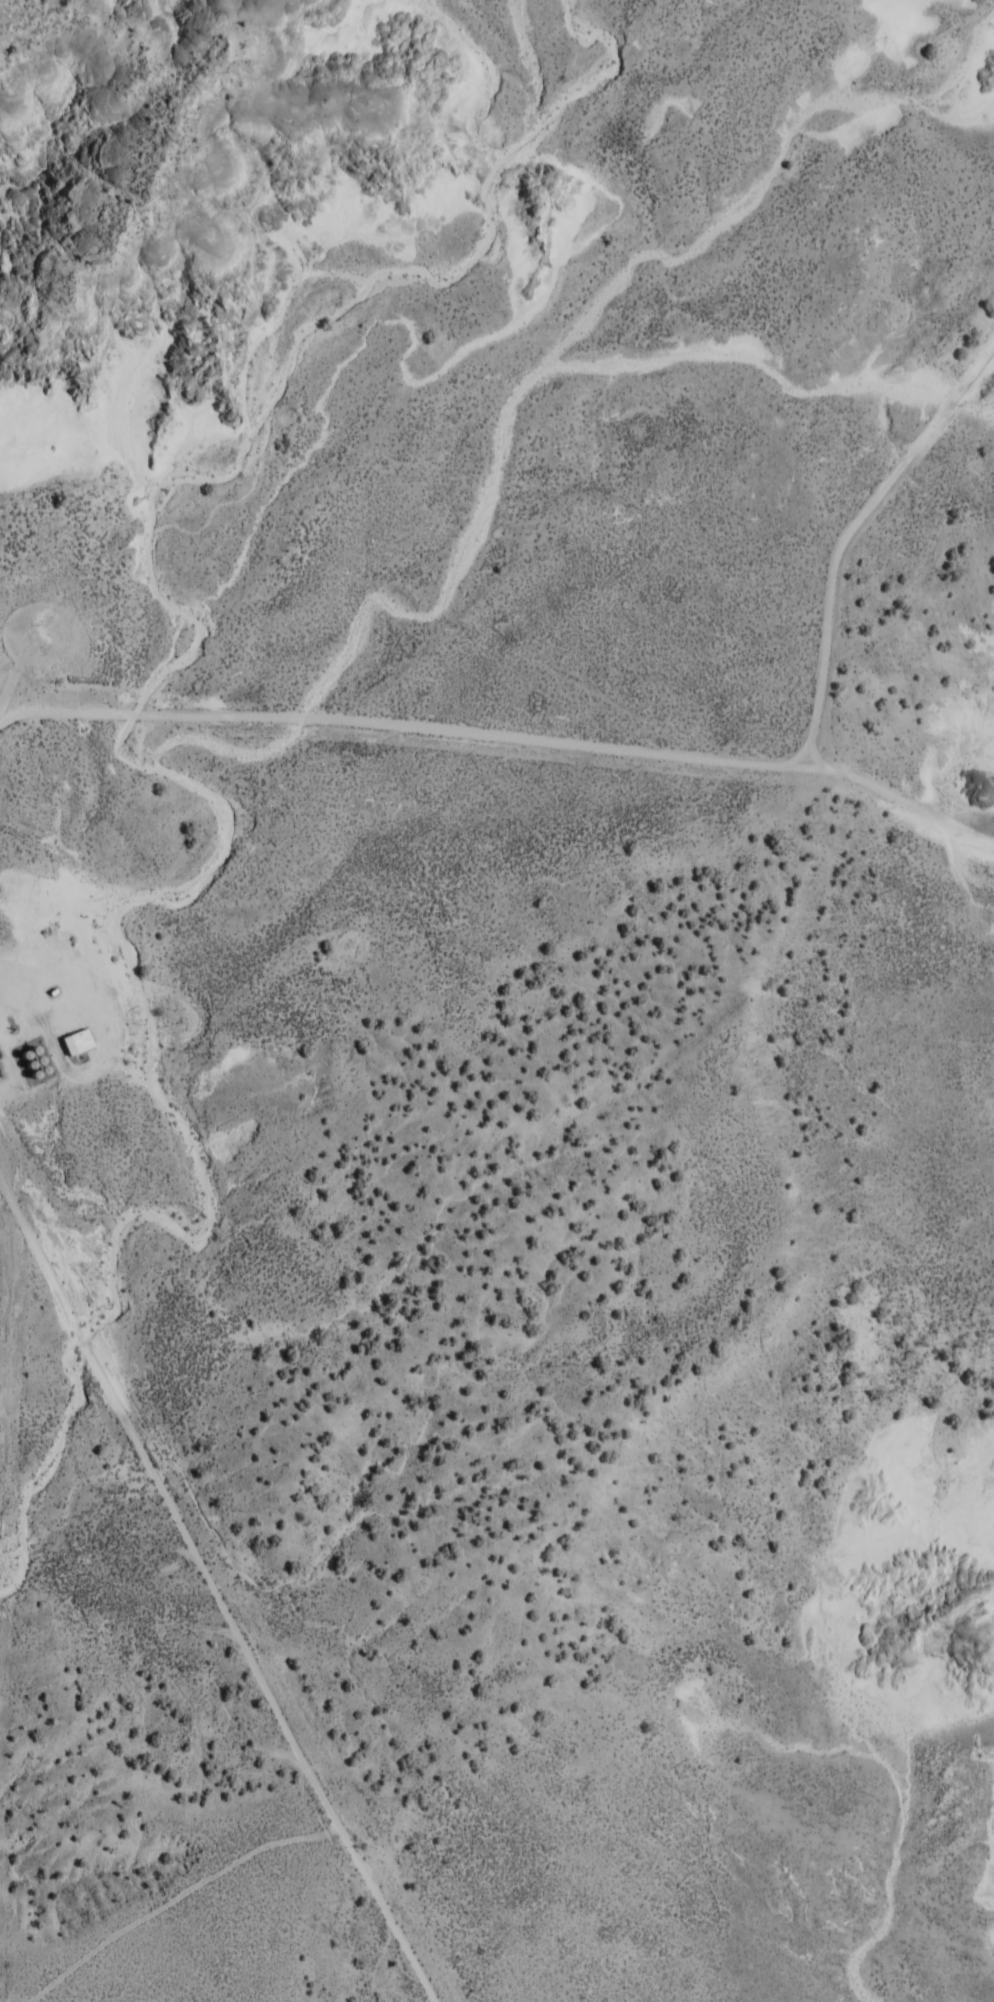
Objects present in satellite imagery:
building: (79, 1044)
road: (215, 1594)

